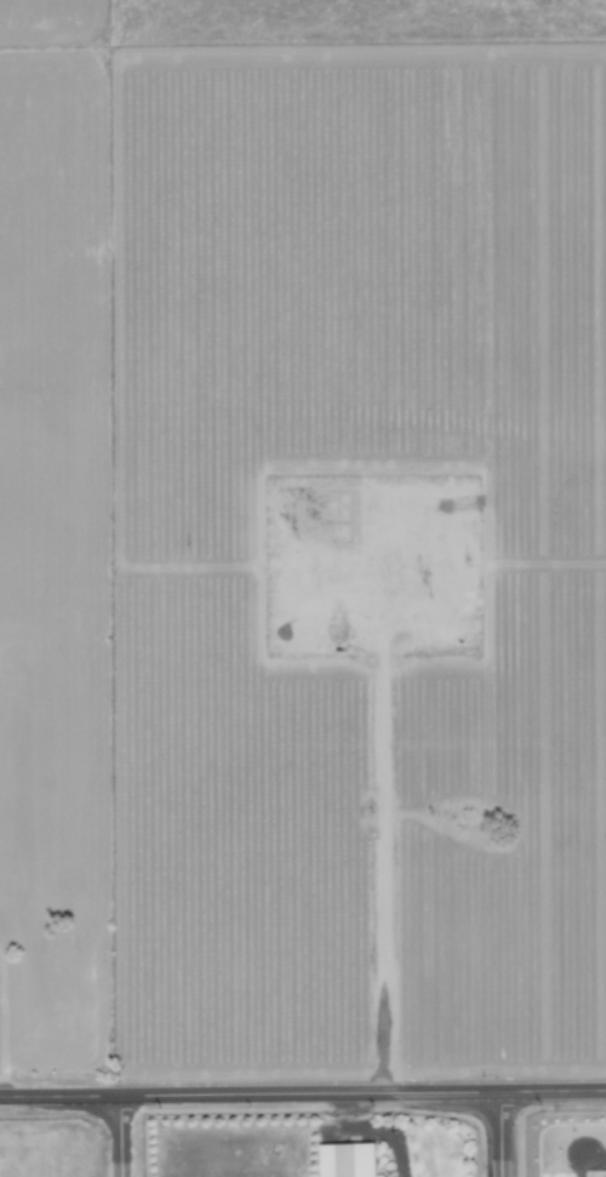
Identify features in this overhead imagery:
road: (1, 1033)
road: (302, 1093)
road: (497, 1135)
road: (118, 1136)
crop: (553, 1139)
building: (345, 1160)

